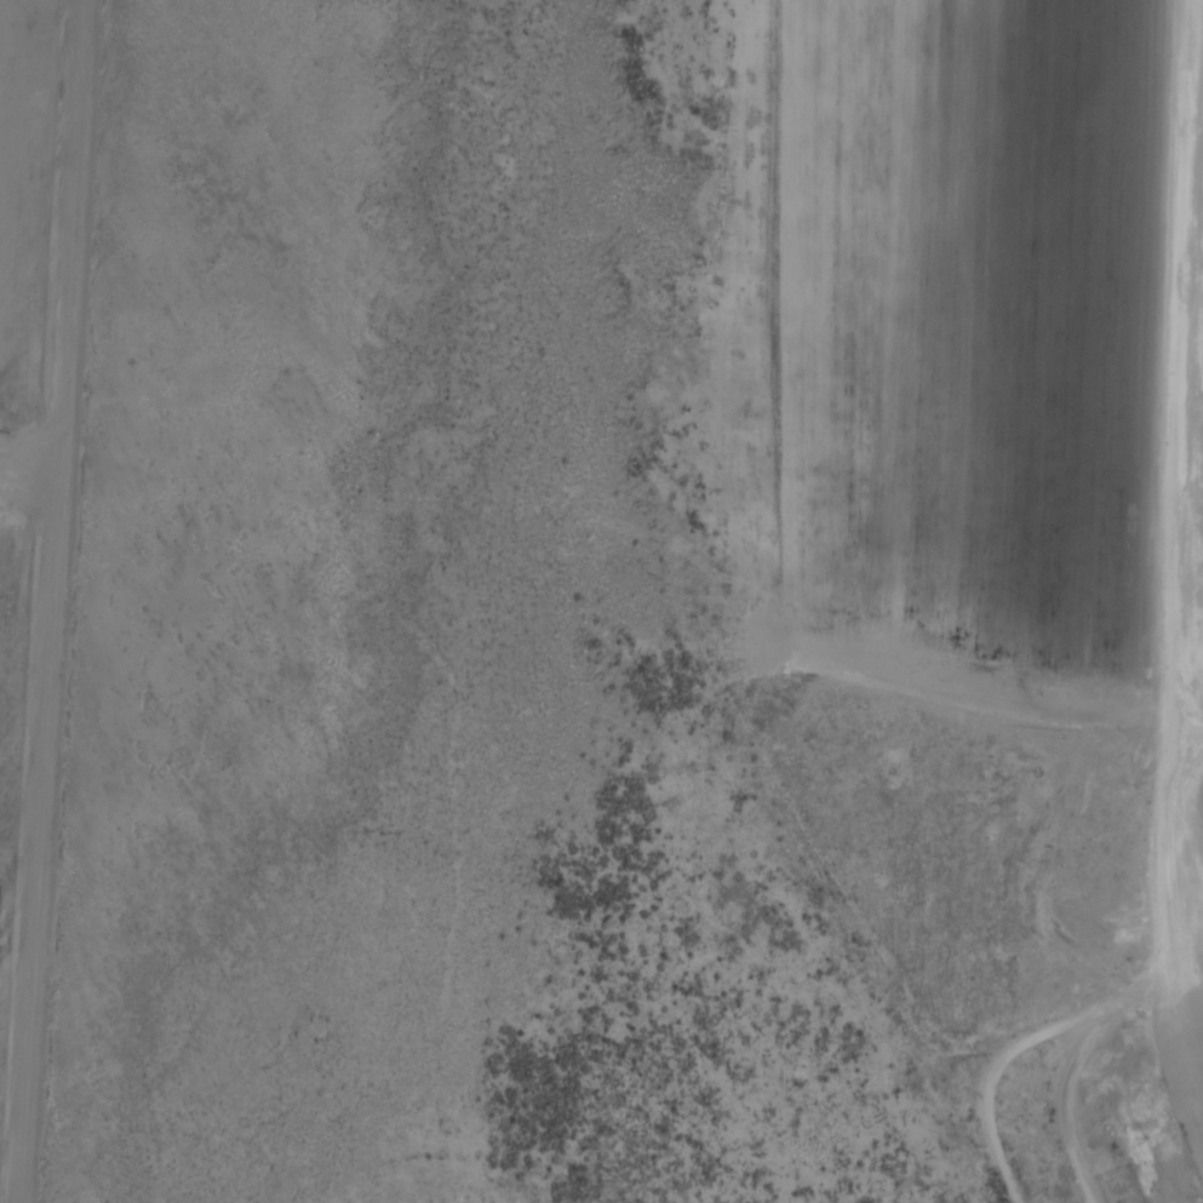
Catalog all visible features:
landfill: (12, 195)
landfill: (951, 316)
road: (1187, 1041)
road: (1076, 1070)

